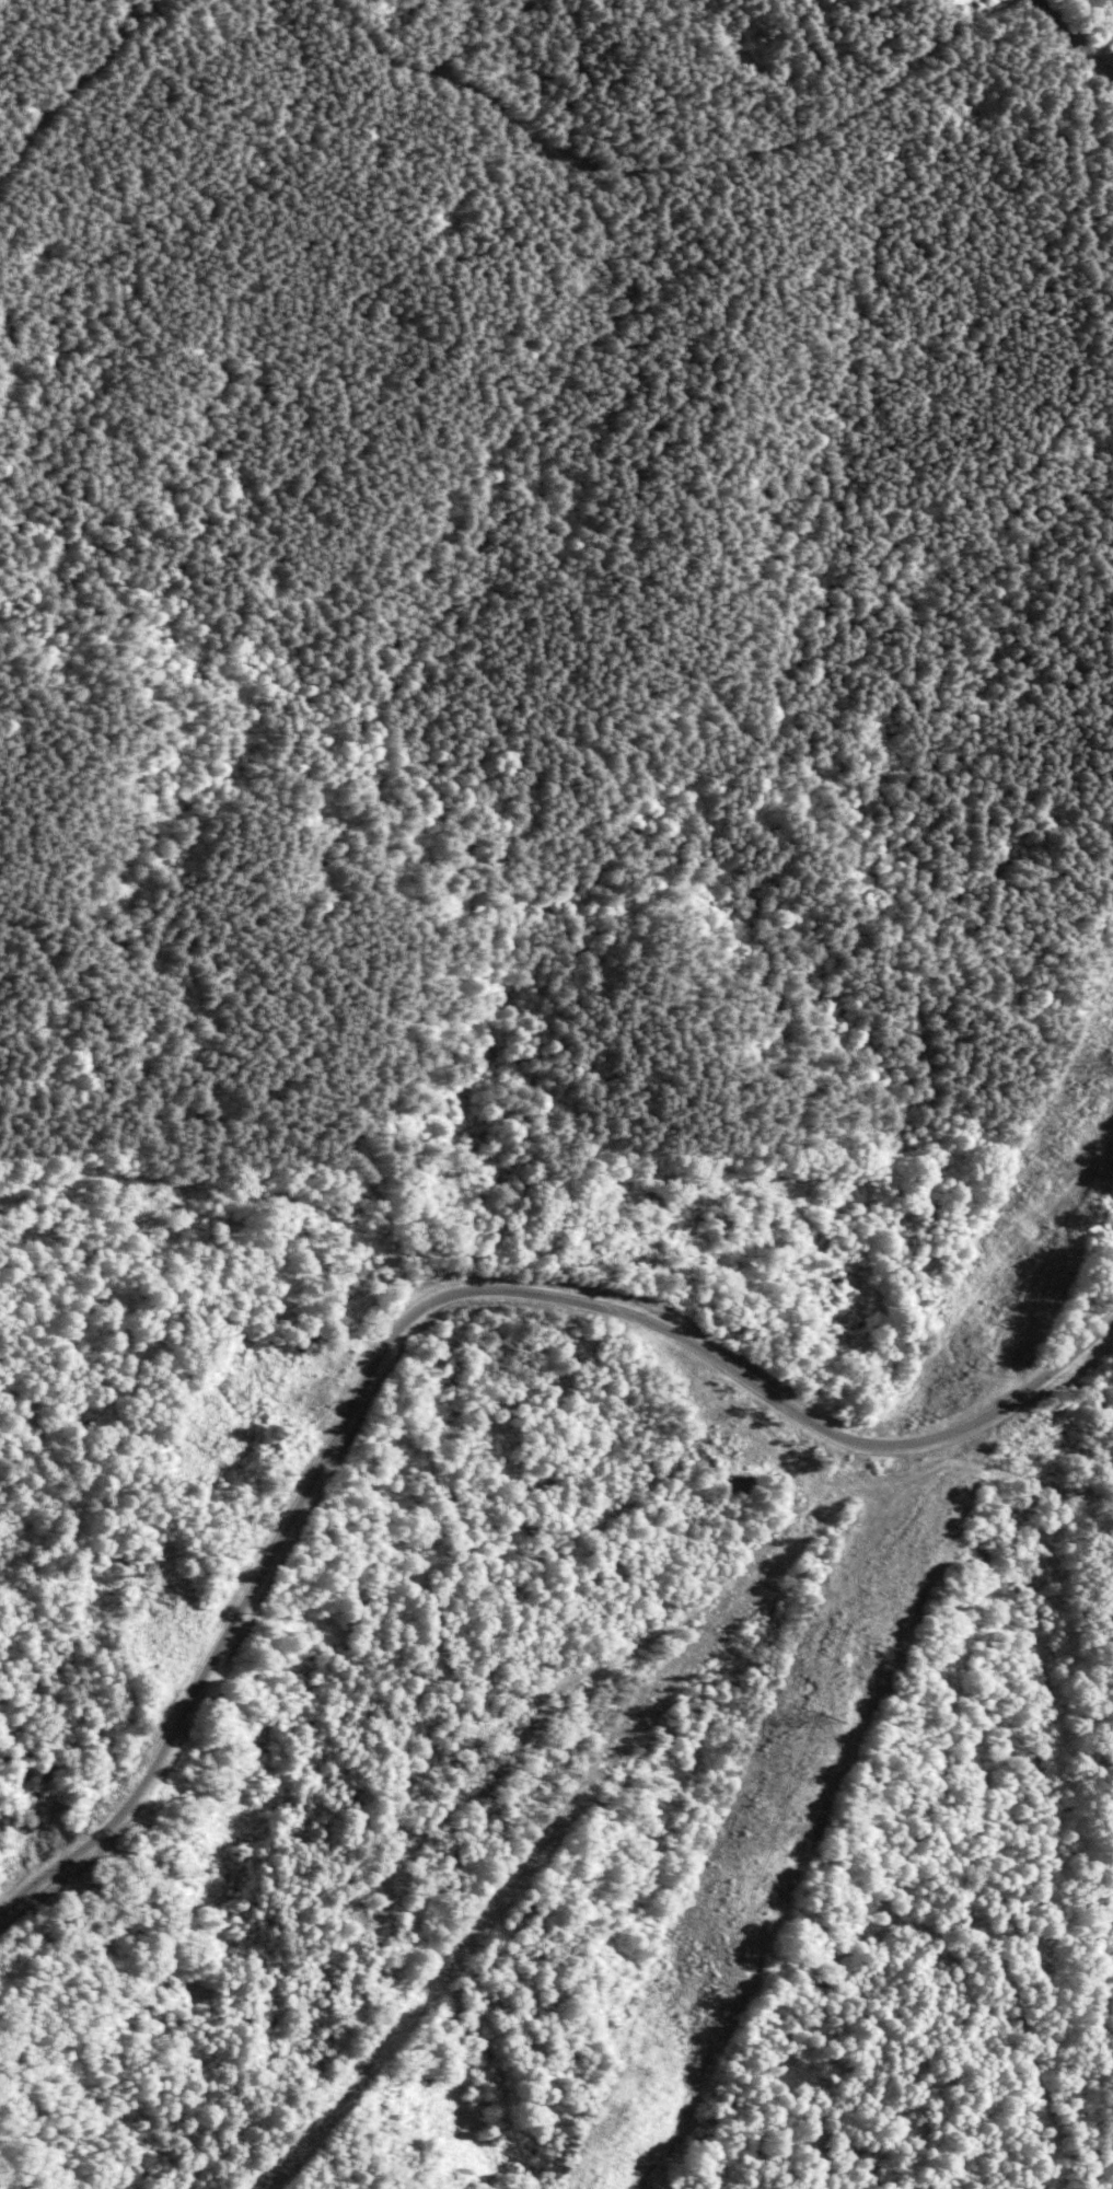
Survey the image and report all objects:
power tower: (1103, 1061)
road: (422, 1283)
power tower: (815, 1723)

